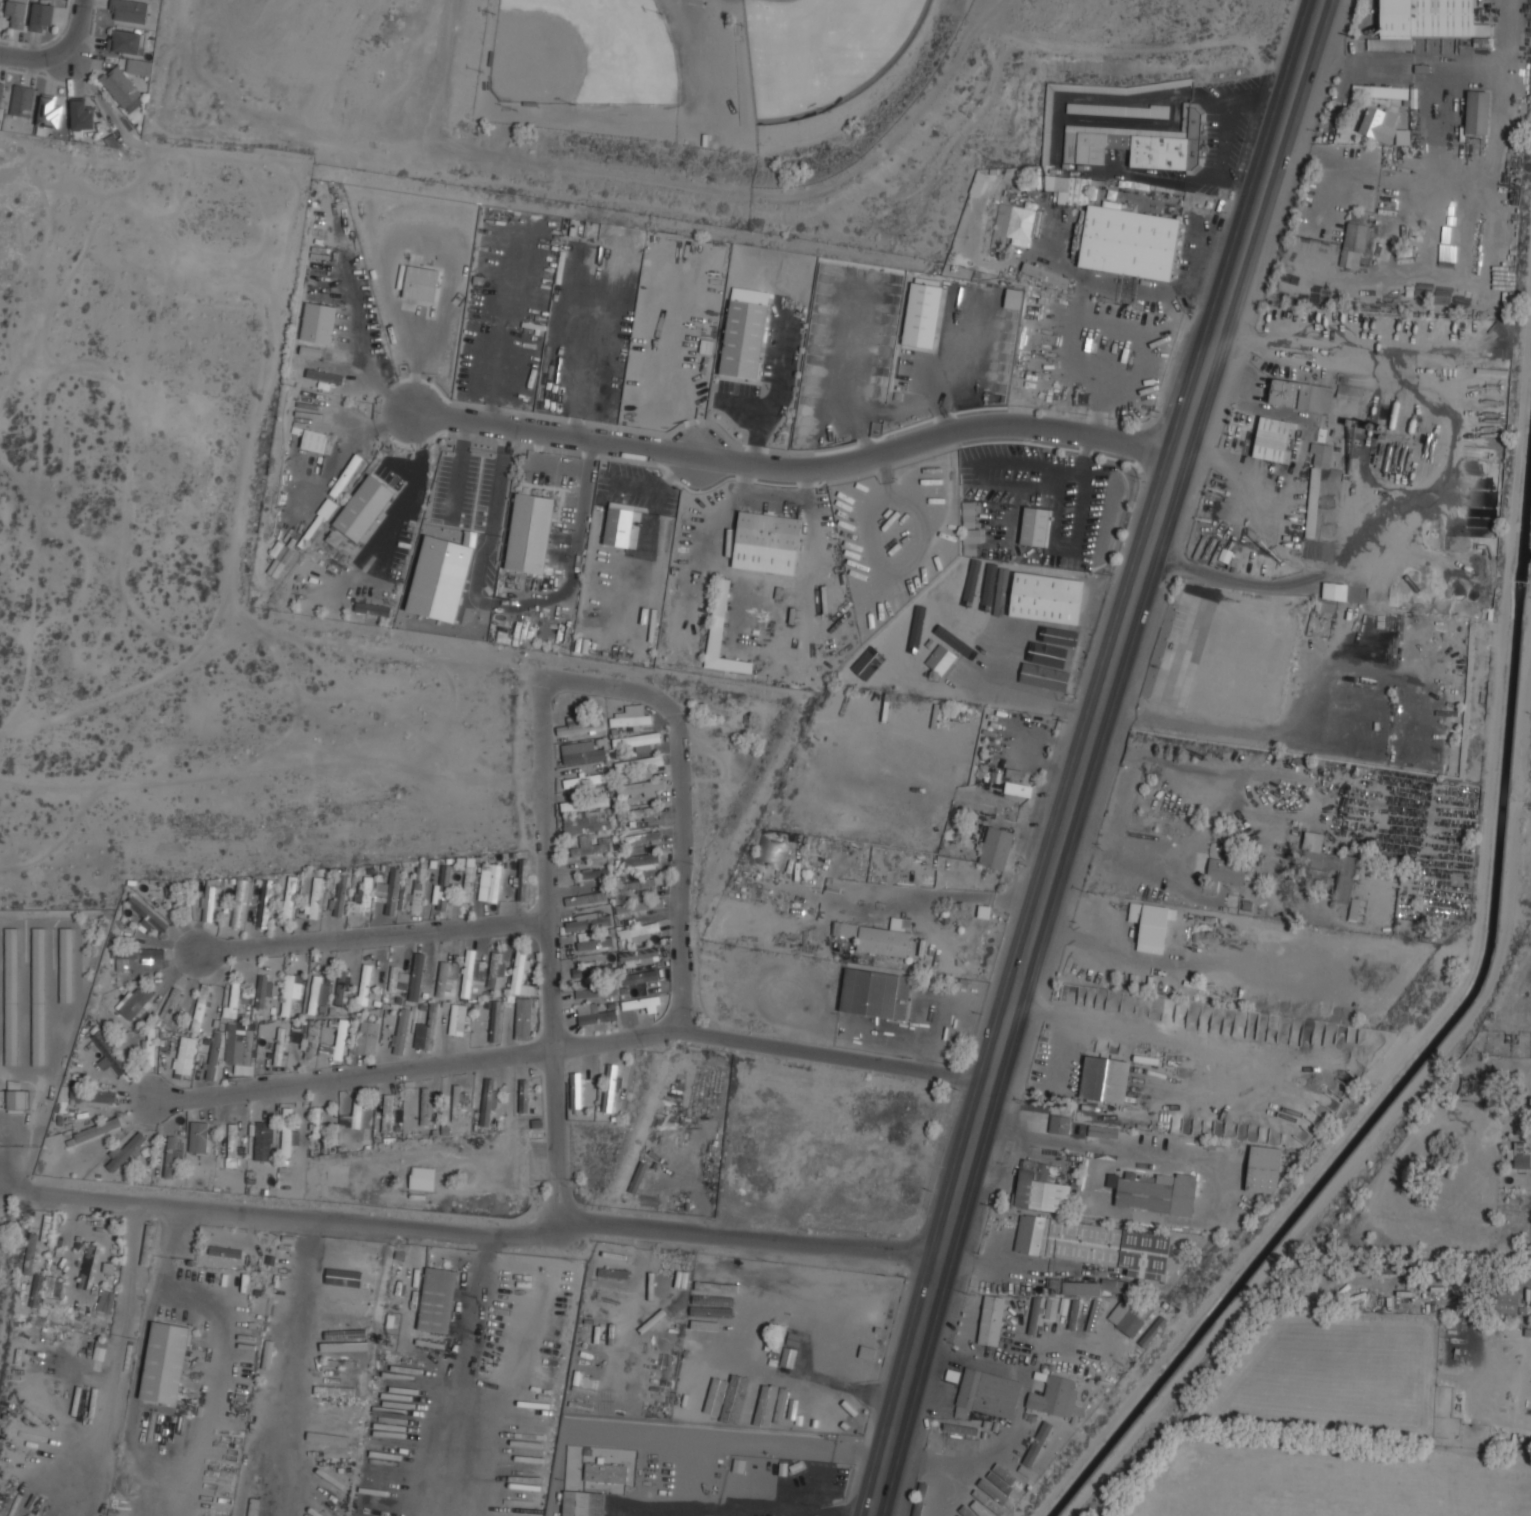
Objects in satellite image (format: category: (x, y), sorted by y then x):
parking lot: (693, 1)
building: (0, 2)
building: (127, 10)
building: (16, 13)
building: (42, 15)
building: (1424, 21)
road: (76, 30)
building: (125, 41)
park: (818, 50)
park: (583, 52)
road: (35, 59)
building: (139, 67)
building: (122, 89)
building: (1, 90)
building: (1380, 90)
building: (22, 101)
park: (609, 103)
building: (1117, 109)
building: (49, 112)
building: (1477, 112)
building: (82, 116)
building: (1383, 125)
building: (1141, 143)
building: (1068, 189)
building: (1001, 224)
building: (1022, 225)
building: (1127, 241)
building: (1354, 241)
building: (1045, 274)
building: (421, 283)
building: (921, 314)
building: (317, 323)
building: (743, 332)
building: (308, 351)
road: (413, 367)
building: (325, 376)
building: (1282, 391)
building: (1349, 392)
building: (1315, 397)
building: (1274, 439)
building: (314, 441)
building: (1321, 454)
road: (550, 464)
road: (459, 469)
road: (797, 471)
road: (675, 474)
road: (417, 484)
road: (498, 495)
parking lot: (1054, 501)
building: (1312, 502)
building: (364, 508)
building: (969, 521)
building: (618, 524)
building: (1035, 526)
parking lot: (905, 528)
building: (768, 529)
building: (530, 533)
building: (334, 537)
road: (574, 567)
road: (478, 575)
building: (1334, 591)
building: (1046, 597)
building: (372, 609)
building: (721, 633)
building: (940, 659)
building: (630, 719)
building: (580, 727)
building: (635, 739)
building: (600, 743)
building: (583, 755)
road: (1088, 755)
building: (638, 763)
building: (584, 780)
building: (640, 786)
building: (1012, 787)
road: (678, 799)
building: (584, 803)
building: (637, 813)
building: (586, 822)
building: (642, 838)
building: (592, 846)
building: (996, 848)
building: (771, 850)
building: (641, 861)
building: (1332, 869)
building: (1226, 871)
building: (594, 873)
building: (467, 876)
building: (522, 879)
building: (490, 882)
building: (637, 885)
building: (443, 887)
building: (418, 890)
building: (389, 892)
building: (340, 895)
building: (403, 896)
building: (315, 897)
building: (363, 897)
building: (289, 899)
building: (239, 902)
building: (264, 903)
building: (208, 904)
building: (185, 905)
building: (639, 905)
building: (147, 914)
building: (588, 921)
building: (1150, 925)
building: (639, 931)
road: (371, 936)
building: (877, 936)
building: (592, 941)
road: (545, 949)
building: (638, 955)
building: (136, 956)
building: (66, 965)
building: (493, 969)
building: (592, 969)
building: (518, 970)
building: (416, 976)
building: (639, 977)
building: (395, 978)
building: (442, 978)
building: (471, 980)
building: (364, 983)
building: (342, 990)
building: (262, 991)
building: (291, 991)
building: (319, 991)
building: (596, 991)
building: (875, 993)
building: (11, 996)
building: (38, 996)
building: (235, 1001)
building: (640, 1001)
building: (170, 1003)
building: (138, 1004)
building: (200, 1008)
building: (593, 1014)
building: (523, 1018)
building: (458, 1019)
building: (495, 1021)
building: (302, 1025)
building: (427, 1029)
road: (1147, 1031)
building: (402, 1032)
building: (367, 1037)
building: (308, 1042)
building: (336, 1043)
building: (279, 1045)
building: (150, 1046)
building: (248, 1046)
road: (571, 1046)
building: (109, 1054)
building: (213, 1055)
building: (184, 1057)
building: (1104, 1079)
building: (610, 1087)
building: (575, 1090)
building: (1473, 1090)
building: (524, 1095)
building: (13, 1097)
building: (92, 1098)
building: (489, 1100)
building: (456, 1102)
building: (425, 1105)
building: (387, 1113)
building: (1092, 1116)
building: (356, 1122)
building: (321, 1124)
building: (1060, 1125)
building: (97, 1129)
building: (1102, 1131)
building: (288, 1132)
building: (199, 1136)
building: (229, 1141)
building: (265, 1141)
building: (124, 1151)
building: (1521, 1154)
building: (170, 1157)
building: (1263, 1169)
building: (423, 1177)
building: (1041, 1187)
building: (1154, 1191)
road: (495, 1235)
building: (1095, 1244)
building: (356, 1249)
building: (224, 1251)
building: (29, 1254)
building: (345, 1261)
building: (87, 1265)
building: (107, 1267)
building: (356, 1273)
road: (170, 1275)
building: (1095, 1286)
building: (37, 1289)
building: (799, 1292)
building: (282, 1297)
building: (438, 1299)
building: (106, 1300)
building: (861, 1303)
building: (1506, 1303)
building: (346, 1307)
building: (1074, 1314)
building: (1093, 1315)
building: (709, 1316)
building: (1051, 1318)
building: (999, 1319)
building: (1125, 1319)
building: (342, 1325)
road: (299, 1329)
building: (1153, 1331)
building: (1451, 1343)
building: (777, 1344)
building: (337, 1345)
building: (164, 1362)
building: (337, 1382)
building: (989, 1393)
building: (1055, 1396)
building: (717, 1397)
building: (695, 1400)
building: (749, 1401)
building: (780, 1404)
building: (807, 1406)
building: (335, 1409)
building: (827, 1413)
building: (847, 1417)
building: (966, 1429)
building: (1037, 1444)
building: (329, 1452)
building: (605, 1472)
building: (1001, 1484)
building: (991, 1490)
building: (585, 1503)
building: (982, 1504)
road: (738, 1509)
building: (965, 1511)
road: (724, 1513)
building: (958, 1515)

